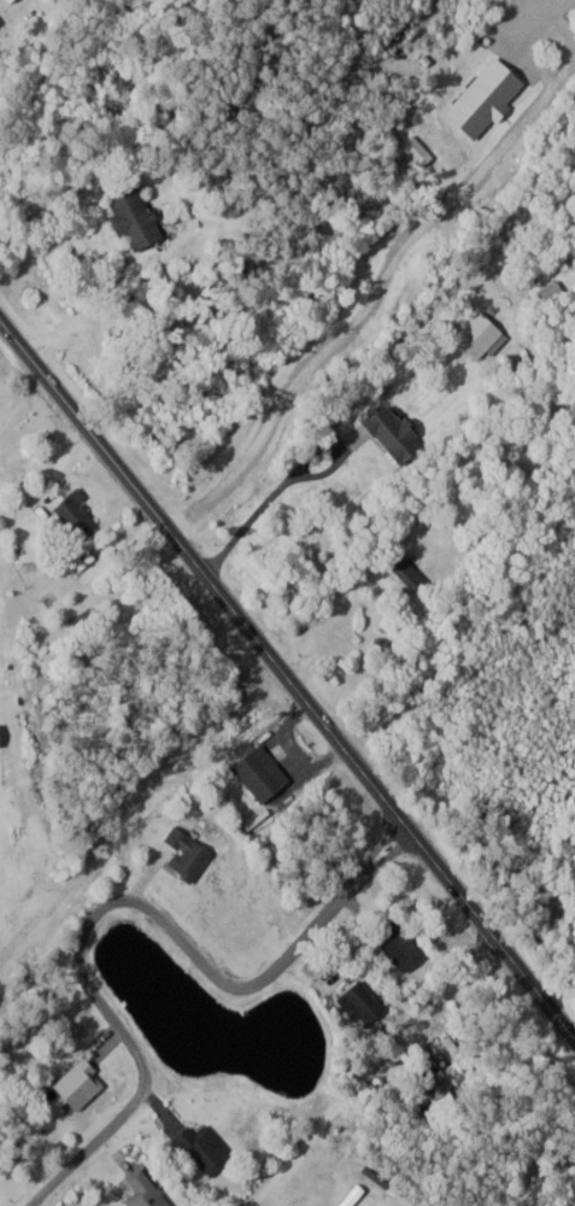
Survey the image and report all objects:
building: (13, 0)
building: (0, 19)
road: (34, 37)
building: (137, 216)
road: (372, 303)
road: (84, 316)
building: (483, 335)
building: (399, 431)
road: (293, 484)
building: (83, 517)
building: (415, 572)
road: (288, 680)
building: (1, 734)
building: (266, 777)
building: (189, 853)
road: (117, 903)
building: (403, 946)
building: (364, 1003)
road: (360, 1061)
building: (84, 1083)
building: (209, 1148)
building: (148, 1190)

